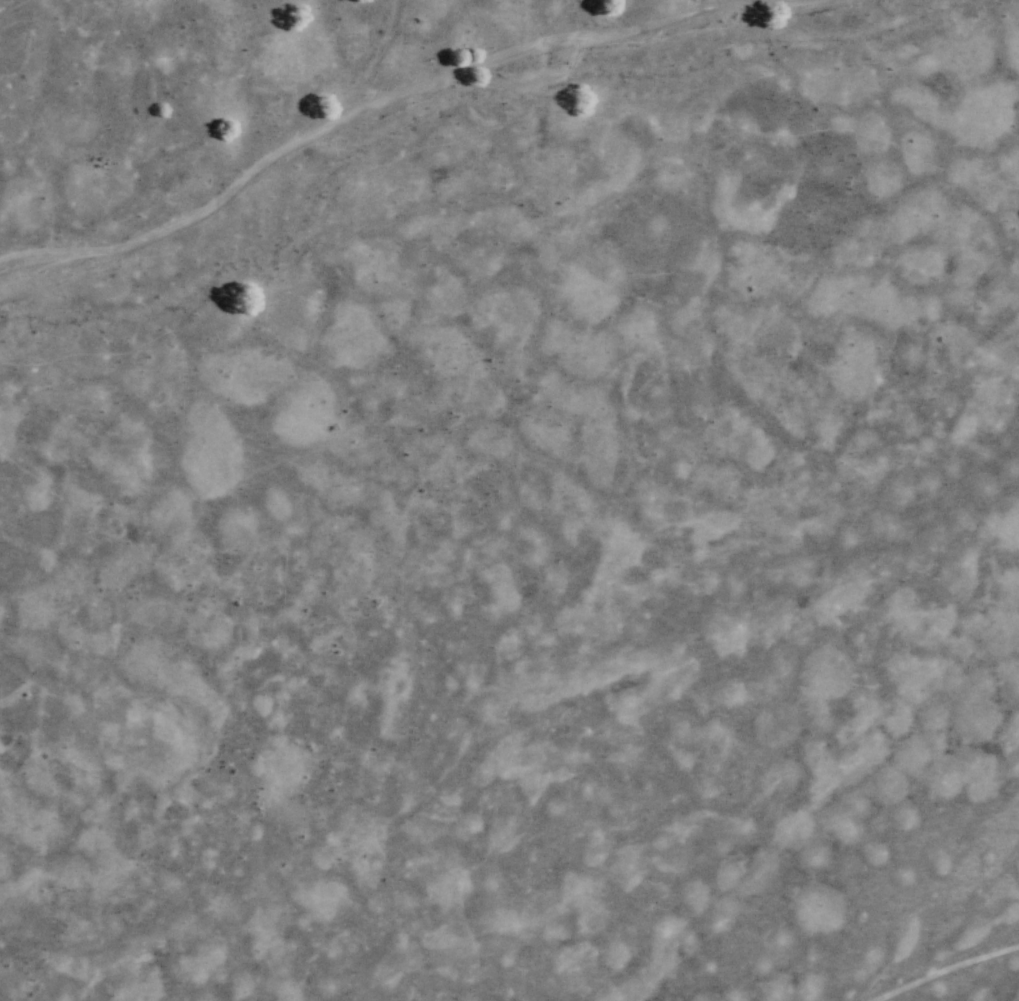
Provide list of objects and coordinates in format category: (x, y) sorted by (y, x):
road: (351, 110)
road: (941, 969)

